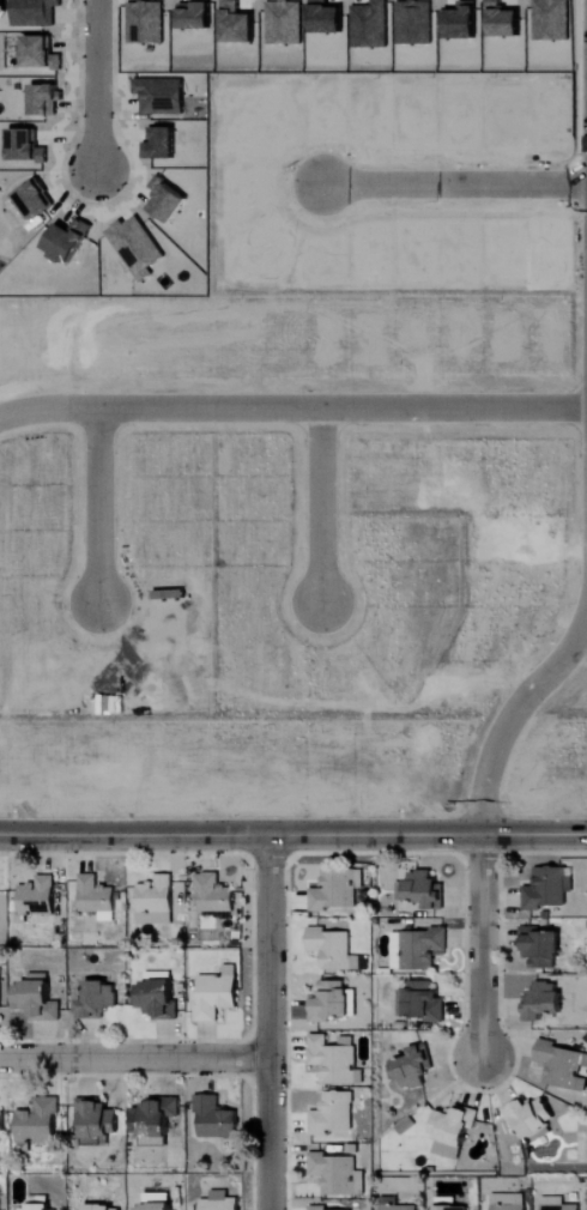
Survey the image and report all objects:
building: (199, 18)
building: (37, 53)
road: (98, 81)
road: (458, 184)
road: (292, 412)
road: (321, 507)
road: (99, 510)
road: (513, 720)
road: (293, 836)
building: (549, 889)
building: (337, 890)
building: (423, 890)
building: (214, 894)
building: (38, 896)
building: (97, 899)
building: (156, 901)
building: (332, 945)
building: (543, 948)
building: (418, 949)
road: (482, 949)
building: (0, 991)
building: (97, 997)
building: (217, 997)
building: (36, 998)
building: (158, 999)
building: (425, 1000)
building: (332, 1002)
building: (544, 1002)
road: (270, 1023)
road: (134, 1059)
building: (335, 1061)
building: (562, 1066)
building: (416, 1067)
building: (333, 1114)
building: (531, 1115)
building: (155, 1118)
building: (217, 1119)
building: (97, 1121)
building: (38, 1124)
building: (2, 1125)
building: (453, 1132)
building: (338, 1174)
building: (1, 1200)
building: (158, 1202)
building: (222, 1202)
building: (510, 1202)
building: (41, 1203)
building: (558, 1204)
building: (104, 1208)
building: (319, 1208)
building: (400, 1208)
building: (454, 1208)

